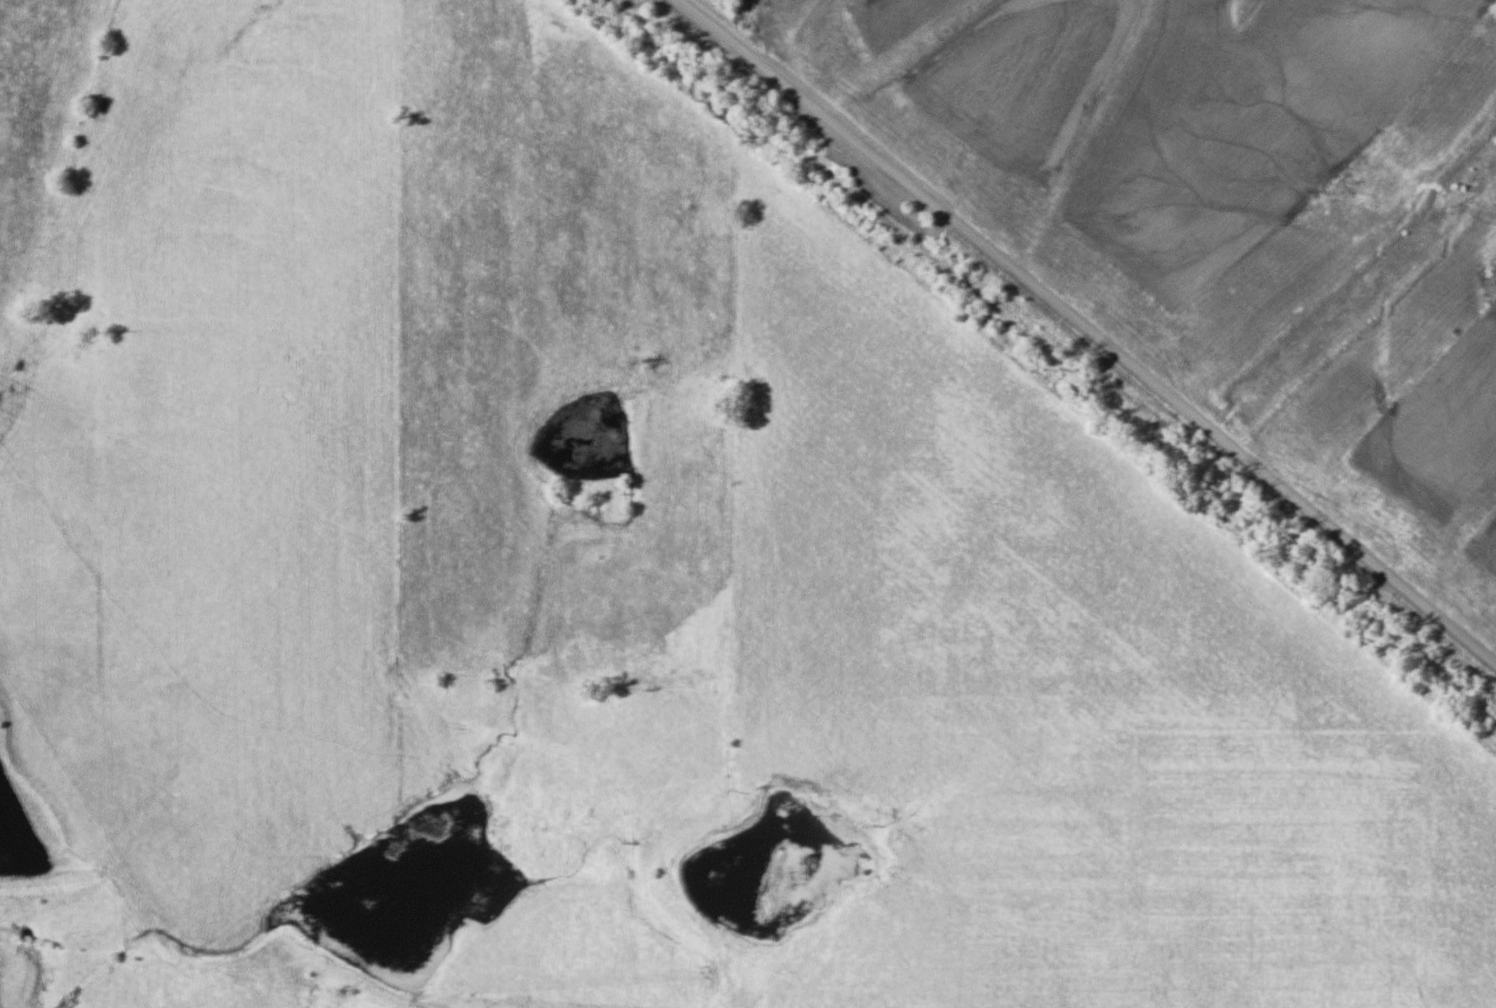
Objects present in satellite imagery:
road: (1086, 331)

